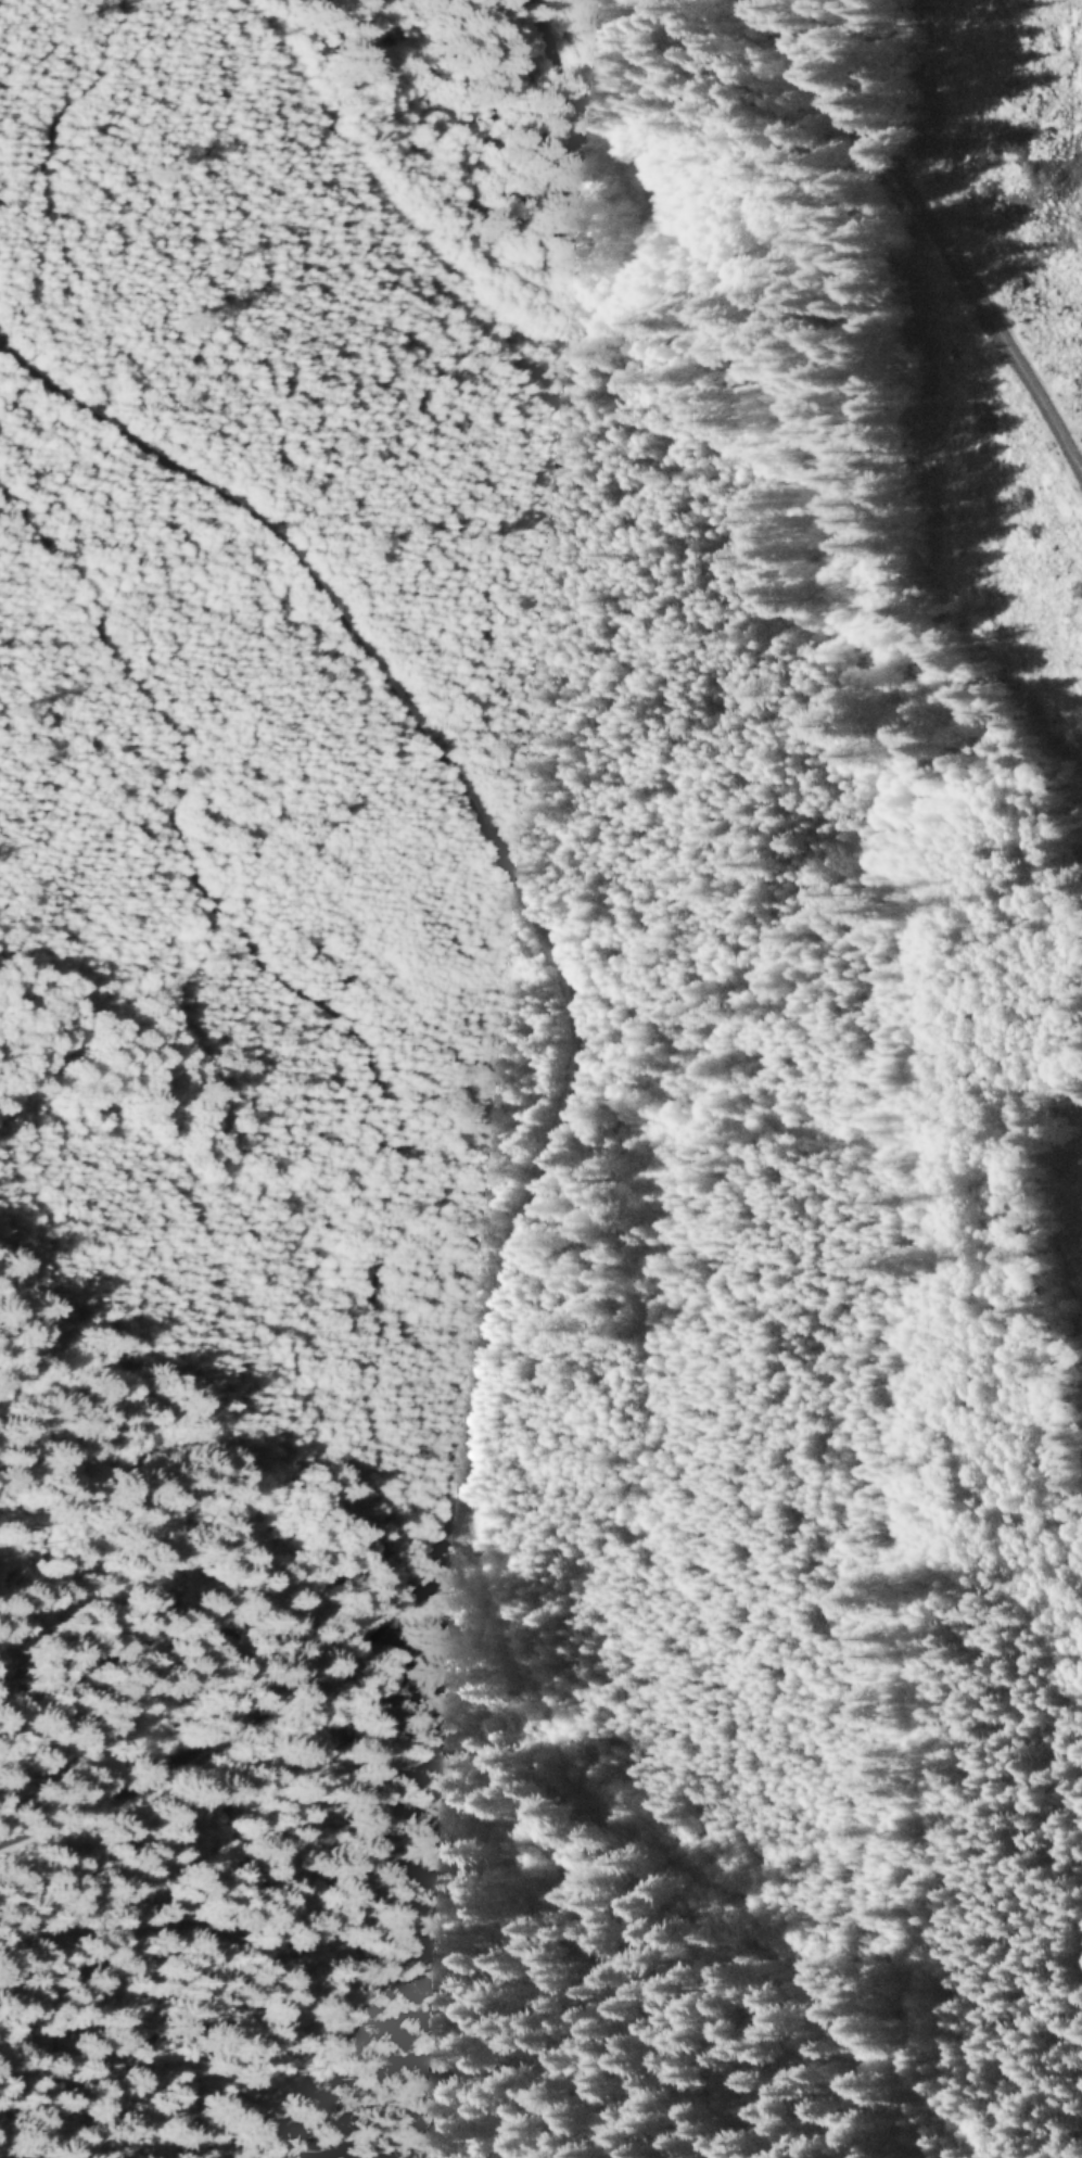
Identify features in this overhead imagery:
road: (559, 114)
road: (28, 123)
road: (913, 251)
road: (395, 257)
road: (534, 1113)
road: (354, 1153)
road: (180, 1976)

